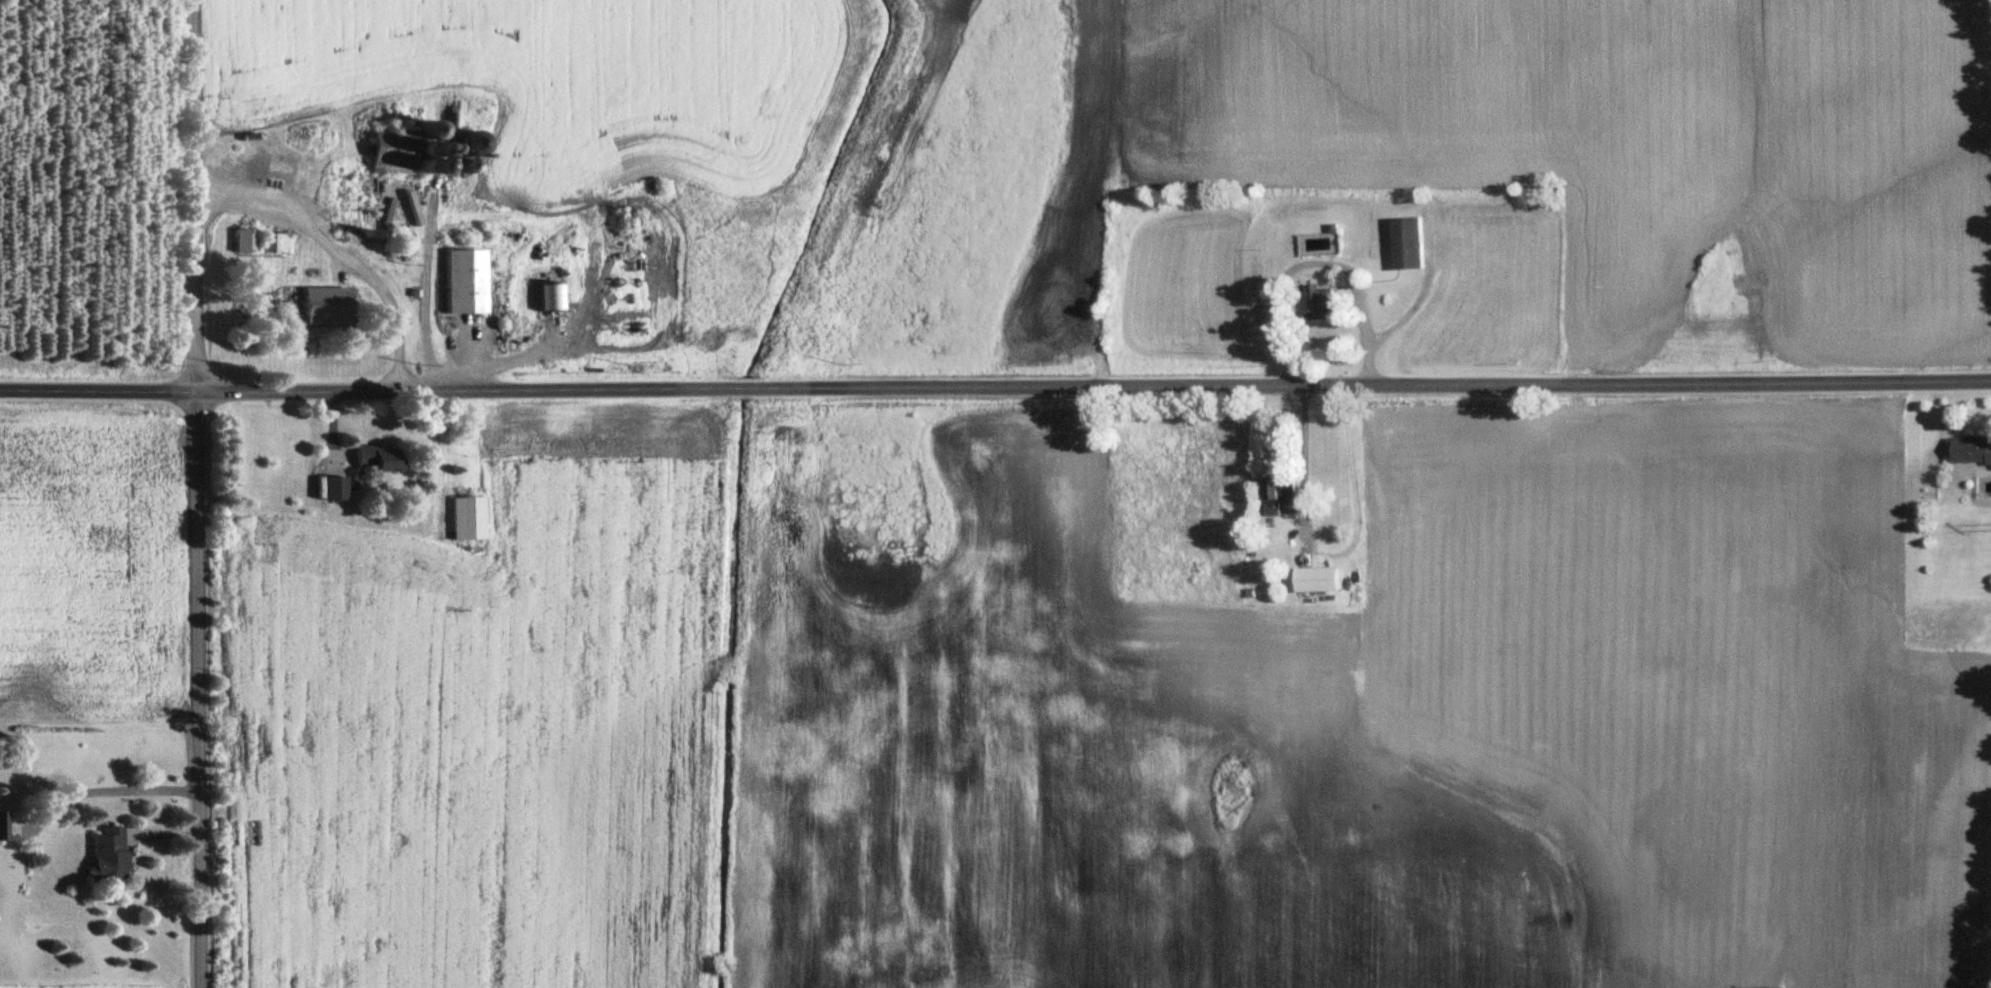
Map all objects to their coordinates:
building: (462, 143)
building: (388, 148)
building: (254, 240)
building: (1407, 242)
road: (335, 257)
road: (1317, 263)
building: (457, 281)
building: (1322, 302)
building: (321, 304)
road: (420, 315)
road: (995, 389)
road: (1304, 448)
building: (1971, 448)
building: (371, 457)
building: (330, 489)
building: (1280, 492)
road: (199, 493)
building: (463, 517)
building: (1316, 578)
road: (98, 793)
building: (2, 824)
building: (104, 852)
power tower: (1787, 980)

